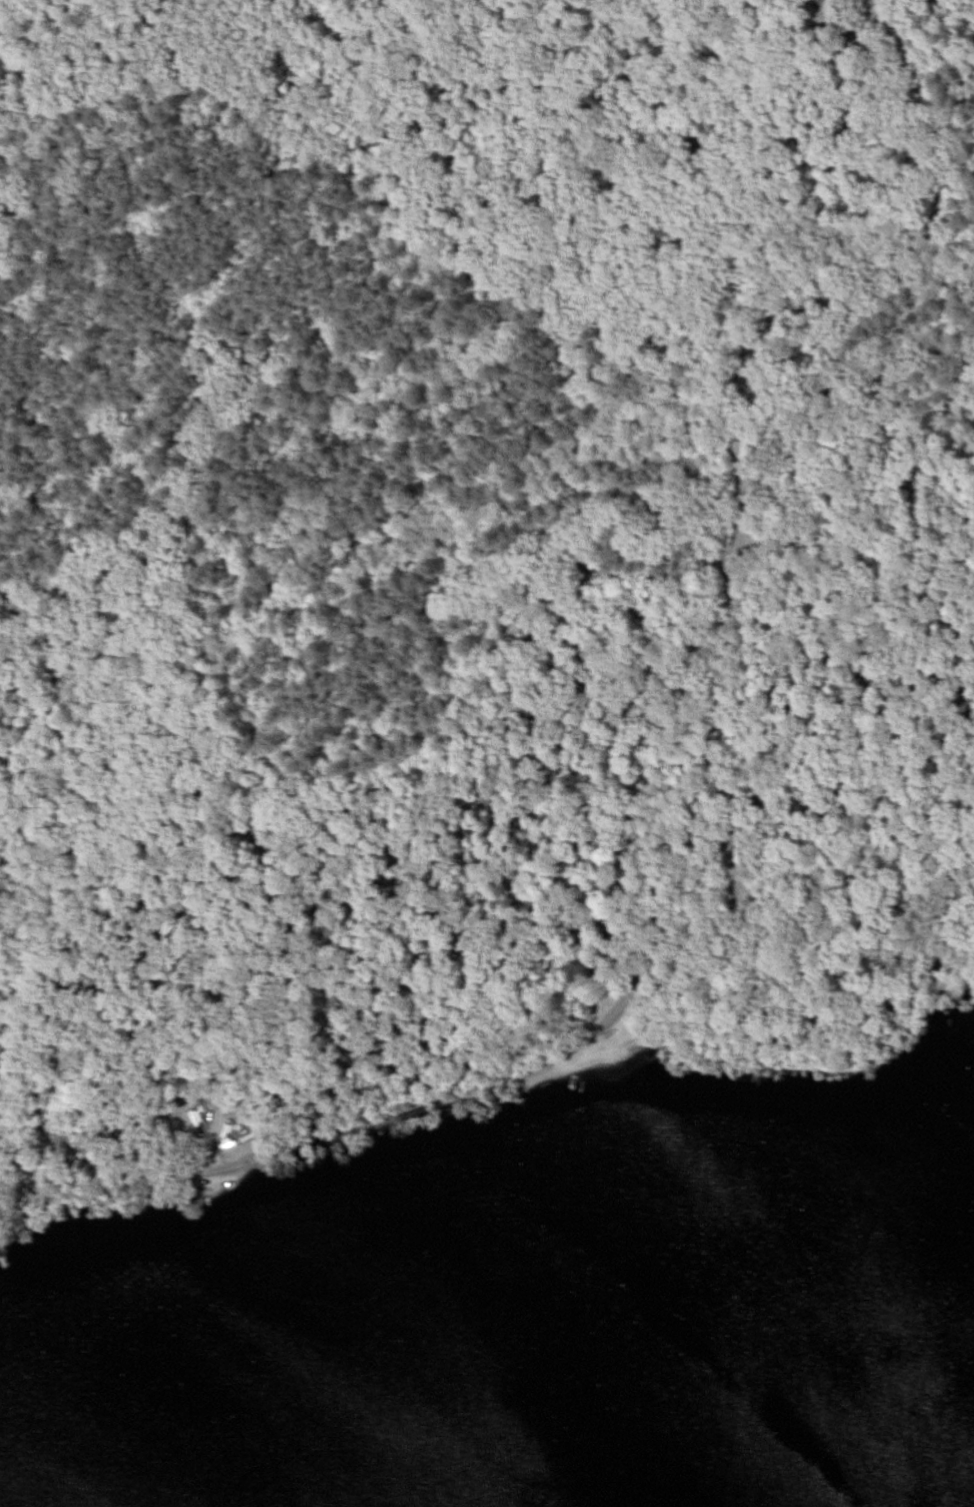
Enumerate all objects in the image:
road: (868, 9)
road: (930, 129)
road: (660, 927)

